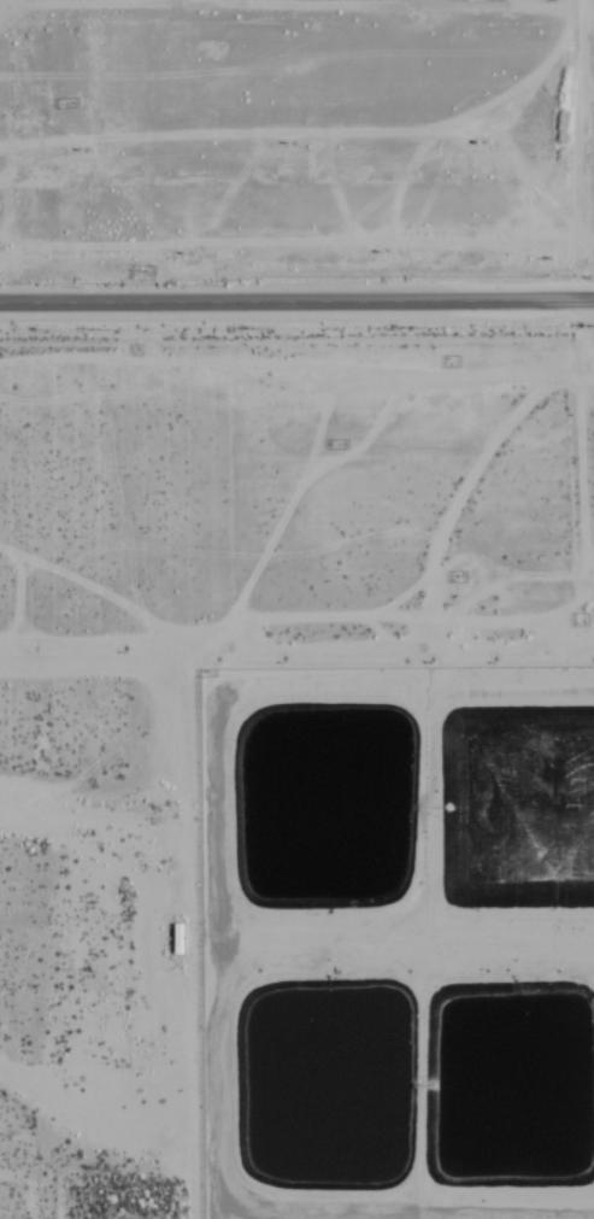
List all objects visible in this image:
road: (296, 297)

